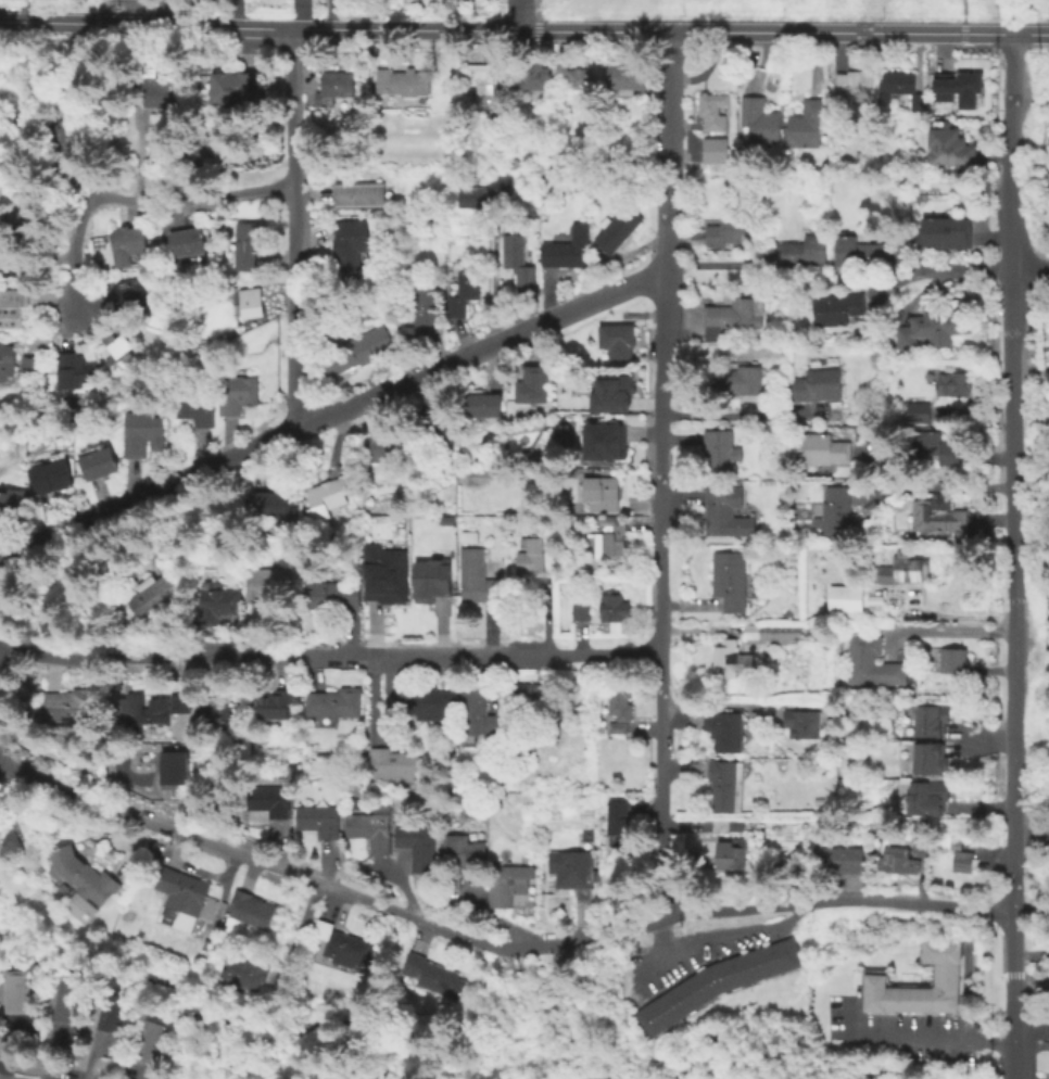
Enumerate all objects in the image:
park: (1008, 8)
road: (165, 13)
road: (519, 15)
road: (963, 27)
road: (523, 31)
building: (484, 74)
building: (625, 75)
building: (573, 76)
building: (531, 78)
building: (236, 79)
building: (404, 81)
building: (855, 84)
building: (156, 86)
building: (336, 87)
building: (944, 88)
building: (968, 88)
building: (899, 89)
building: (712, 111)
building: (759, 119)
building: (807, 123)
building: (72, 131)
building: (212, 139)
building: (951, 142)
building: (716, 150)
road: (88, 178)
building: (484, 191)
building: (359, 193)
road: (198, 199)
building: (617, 227)
road: (295, 229)
building: (726, 230)
building: (944, 233)
building: (189, 241)
building: (351, 242)
building: (130, 243)
building: (249, 243)
building: (568, 249)
building: (802, 251)
building: (860, 251)
road: (75, 252)
building: (164, 253)
building: (517, 258)
building: (9, 259)
road: (1029, 266)
road: (941, 269)
building: (464, 290)
building: (129, 294)
building: (250, 302)
building: (12, 307)
building: (838, 307)
building: (421, 308)
building: (731, 316)
building: (933, 330)
building: (617, 339)
building: (116, 343)
building: (362, 347)
building: (64, 358)
building: (7, 360)
building: (29, 366)
building: (84, 371)
building: (737, 381)
building: (956, 383)
building: (533, 384)
building: (819, 384)
building: (616, 386)
building: (237, 393)
building: (484, 404)
building: (197, 405)
building: (921, 410)
road: (740, 414)
road: (331, 416)
building: (437, 429)
building: (142, 432)
building: (608, 440)
building: (937, 446)
building: (388, 447)
building: (823, 448)
building: (720, 449)
building: (100, 462)
road: (1010, 472)
road: (662, 473)
building: (52, 475)
road: (940, 487)
building: (603, 494)
building: (332, 495)
building: (11, 502)
building: (273, 503)
building: (728, 510)
building: (839, 511)
building: (937, 516)
building: (614, 535)
building: (472, 536)
building: (533, 556)
building: (905, 570)
building: (387, 575)
building: (478, 576)
building: (435, 579)
building: (730, 579)
building: (269, 582)
building: (156, 594)
building: (334, 594)
building: (844, 598)
building: (222, 601)
building: (615, 610)
building: (581, 611)
road: (946, 631)
building: (753, 634)
building: (726, 656)
road: (329, 657)
building: (953, 660)
building: (872, 662)
building: (528, 698)
building: (184, 700)
building: (620, 700)
building: (279, 701)
building: (334, 701)
building: (433, 704)
building: (67, 706)
building: (152, 709)
building: (478, 713)
building: (225, 718)
building: (932, 718)
building: (802, 722)
building: (618, 726)
building: (725, 728)
building: (931, 754)
building: (395, 762)
building: (175, 767)
building: (726, 784)
building: (928, 795)
building: (270, 799)
building: (319, 820)
building: (728, 824)
building: (622, 825)
building: (369, 829)
building: (417, 845)
building: (919, 847)
building: (464, 852)
building: (729, 854)
building: (898, 859)
building: (846, 860)
building: (964, 860)
building: (573, 867)
building: (84, 874)
building: (451, 878)
building: (508, 883)
building: (184, 901)
building: (251, 909)
building: (342, 943)
road: (1011, 943)
road: (491, 945)
building: (244, 972)
building: (432, 975)
road: (1012, 976)
road: (1031, 976)
building: (943, 979)
building: (718, 982)
building: (16, 991)
building: (68, 1000)
building: (112, 1012)
road: (1031, 1027)
road: (1012, 1028)
parking lot: (892, 1036)
road: (912, 1037)
building: (152, 1041)
road: (9, 1077)

